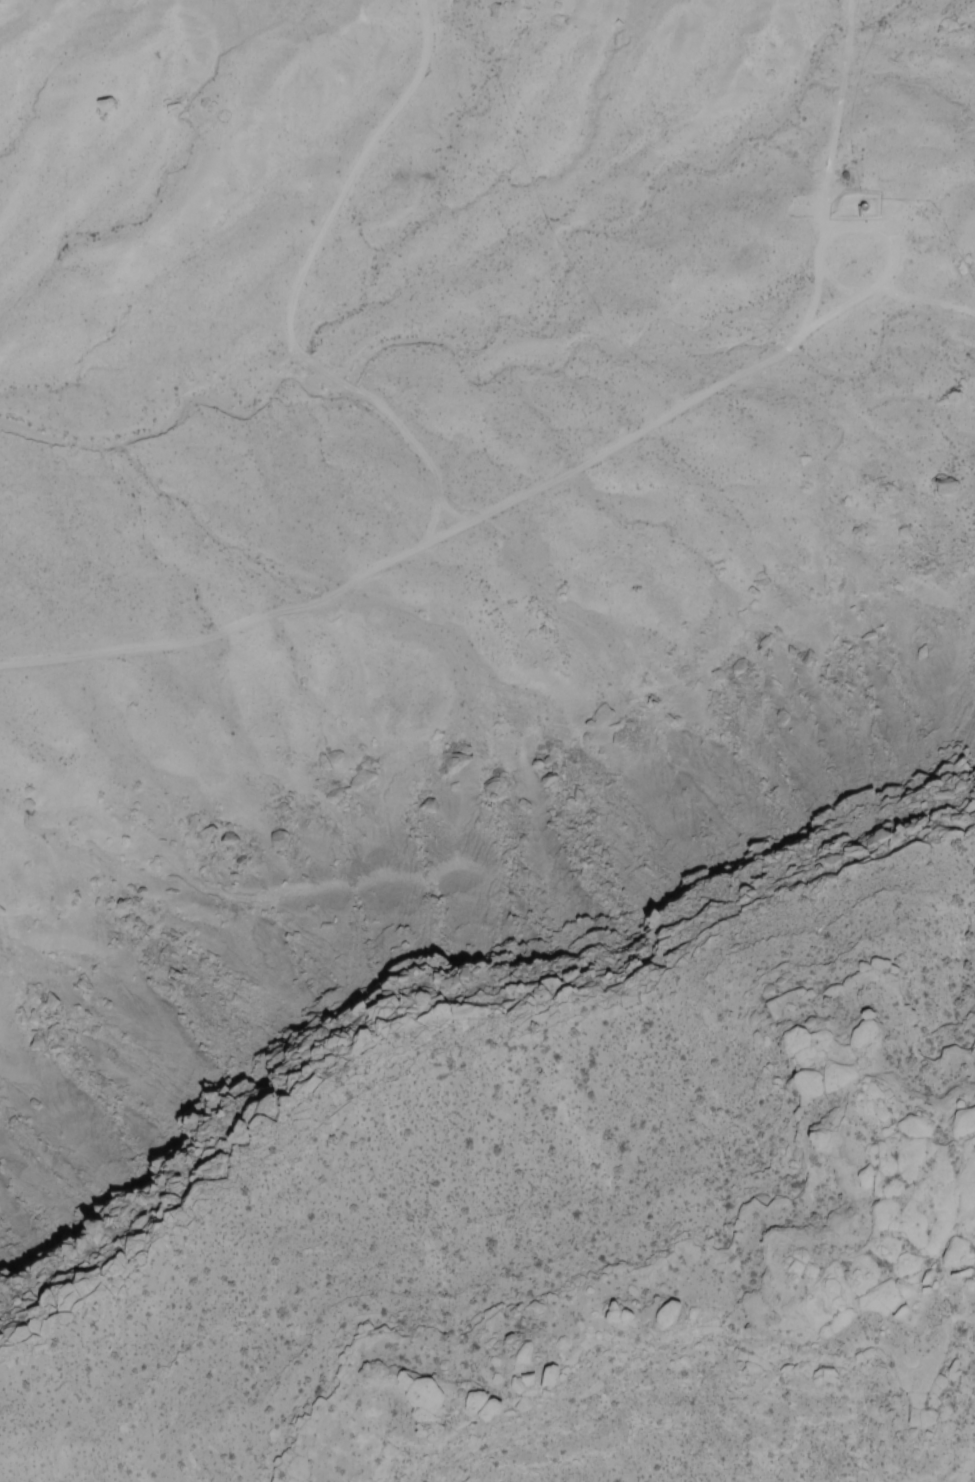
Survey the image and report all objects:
road: (865, 172)
road: (312, 301)
road: (497, 535)

